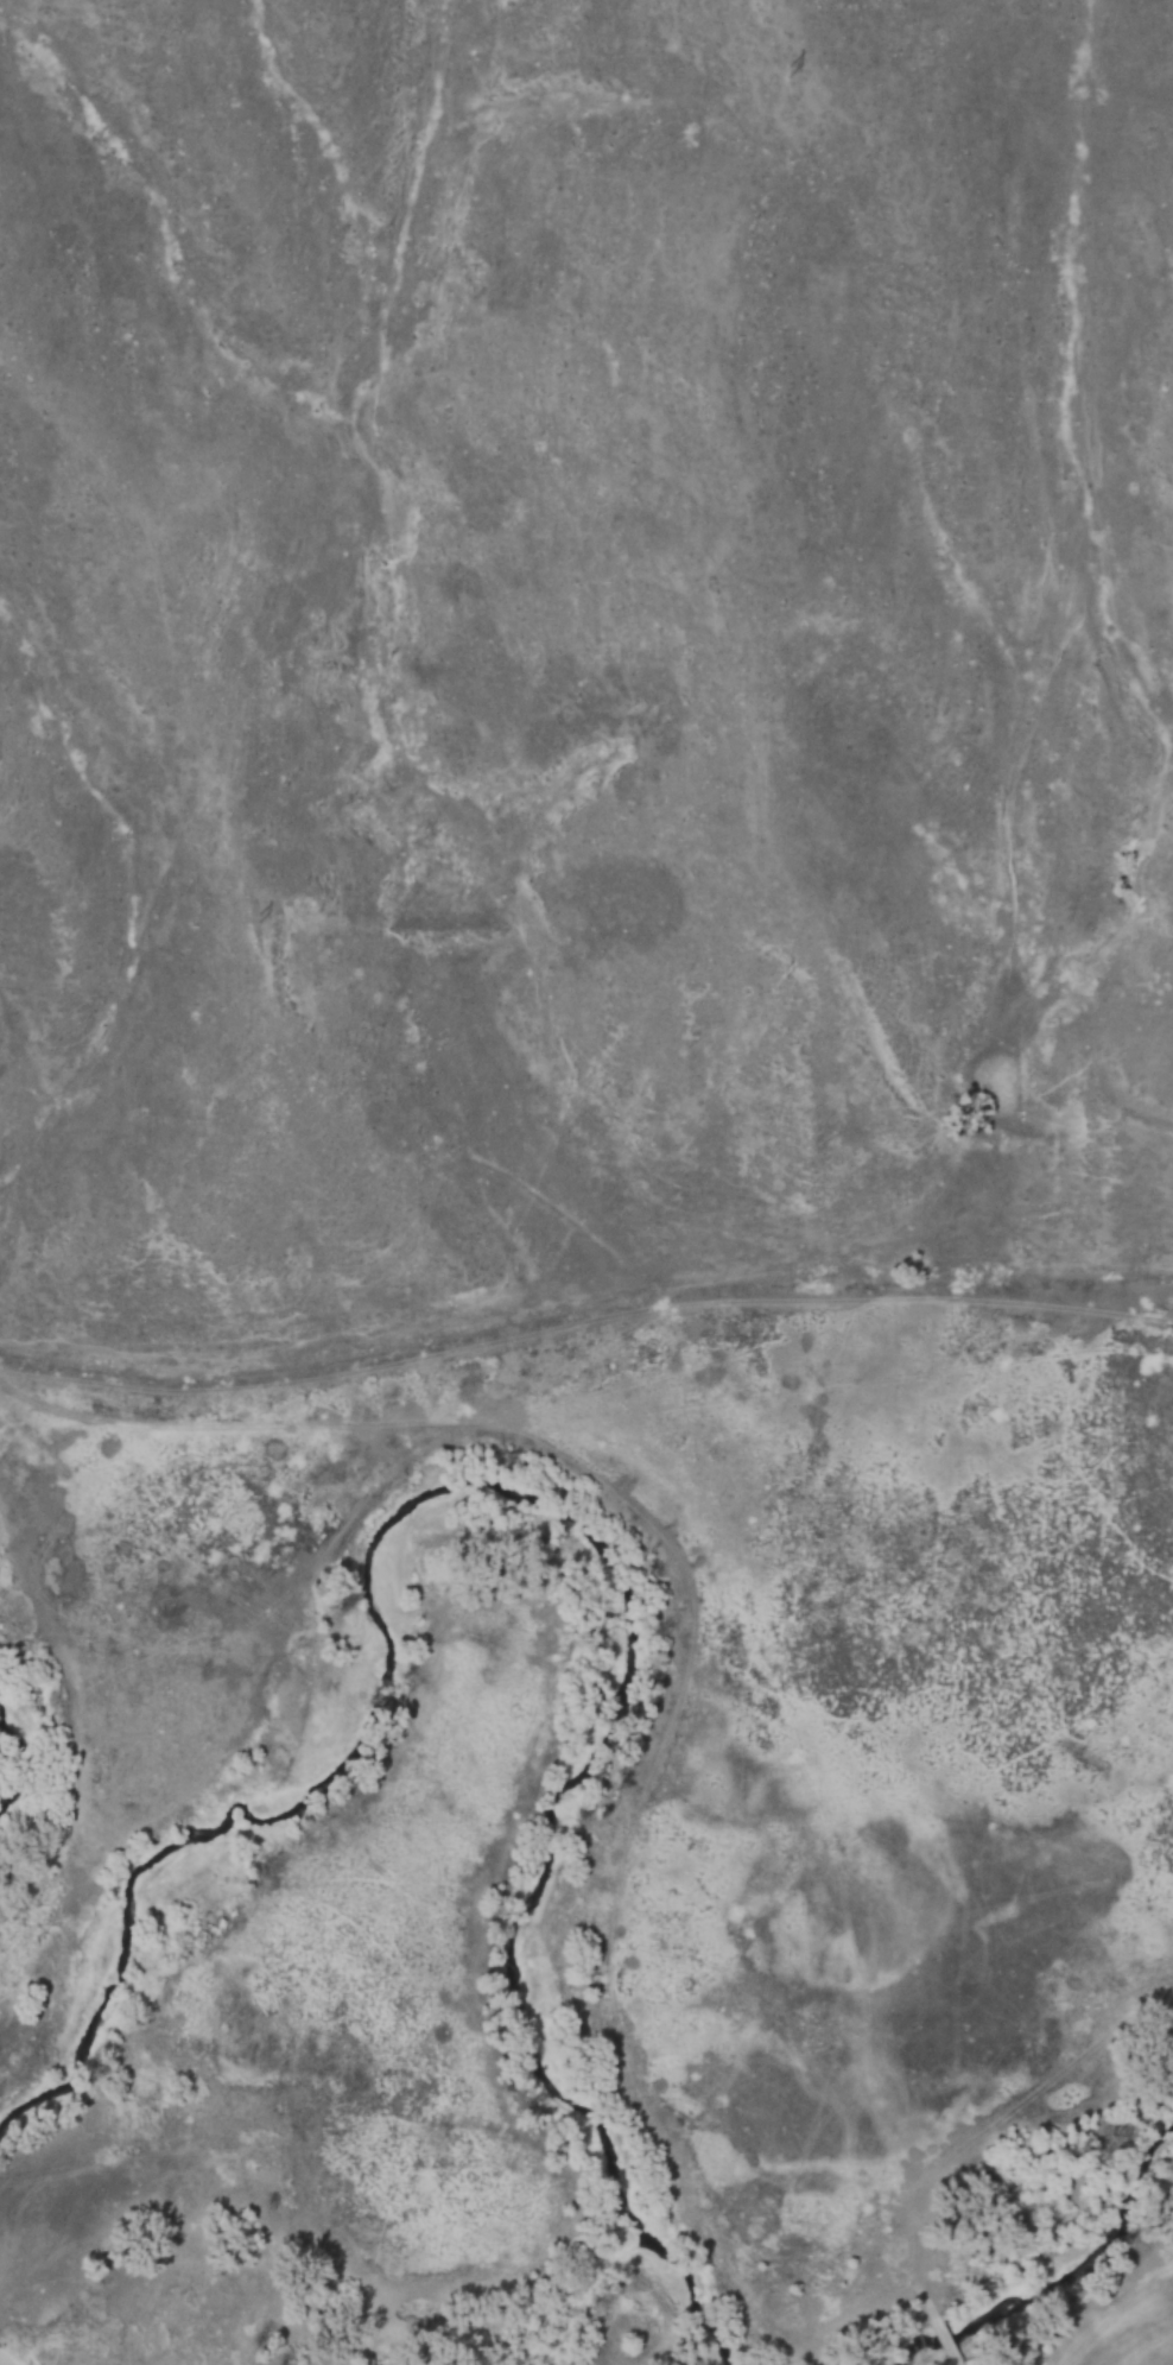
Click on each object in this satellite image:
power tower: (786, 74)

